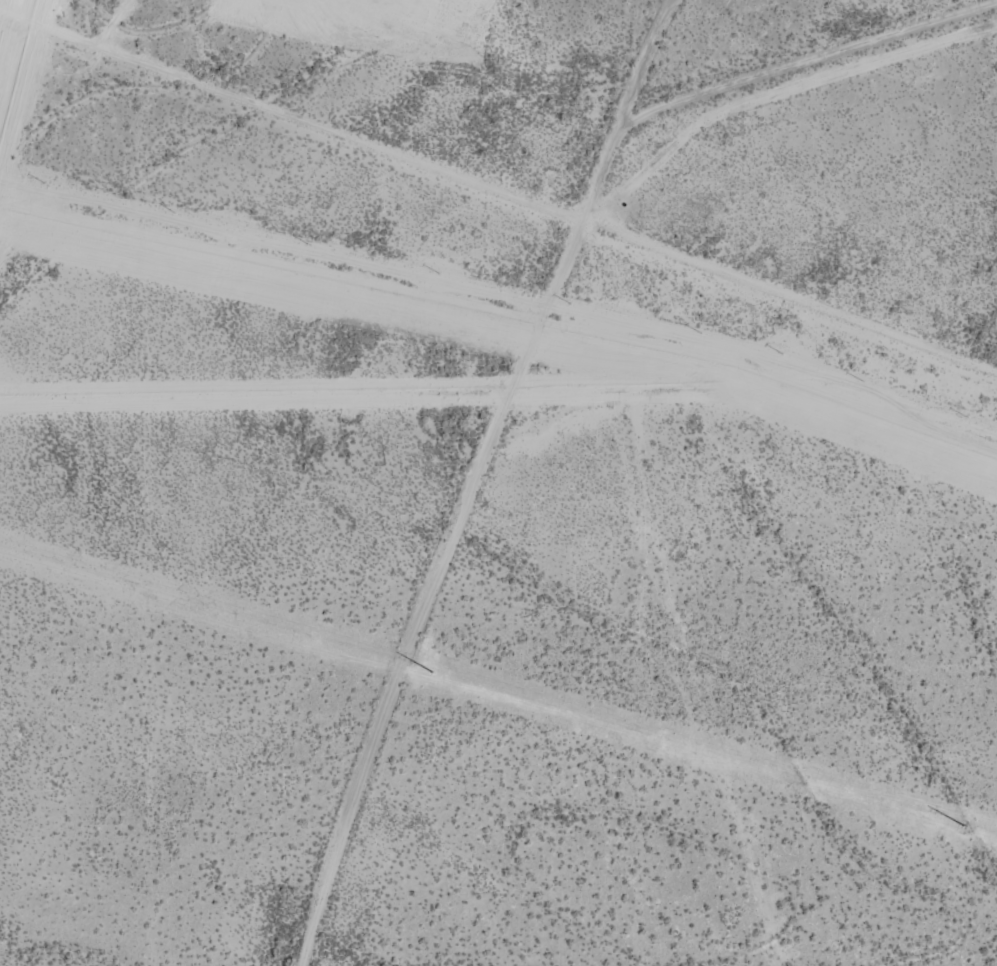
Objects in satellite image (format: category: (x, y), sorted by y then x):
road: (633, 63)
road: (513, 354)

